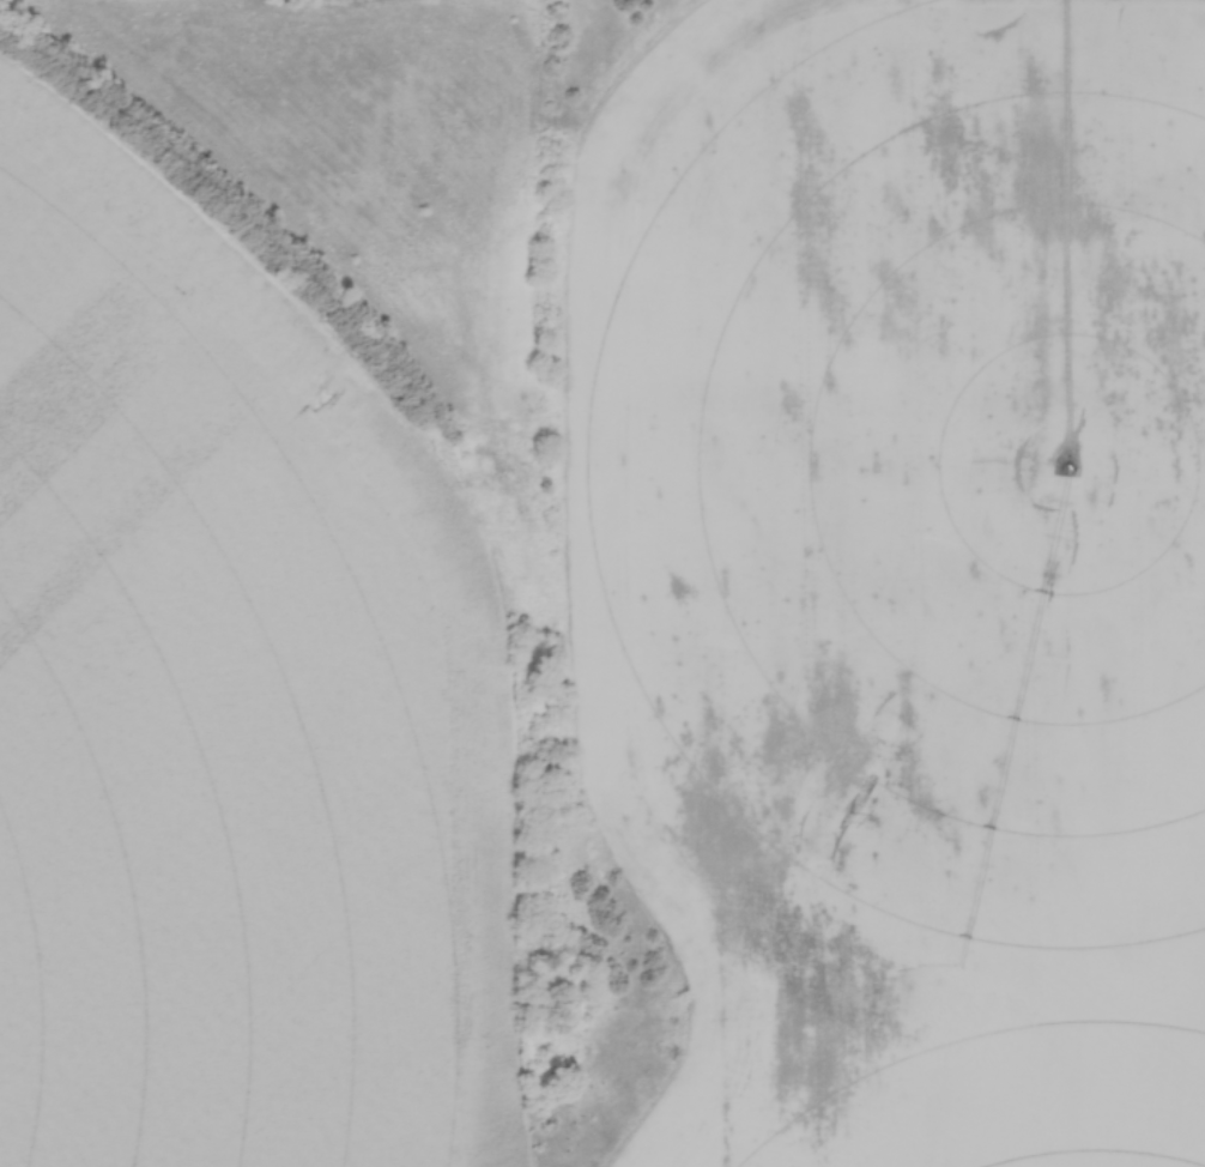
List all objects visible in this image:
power tower: (316, 400)
power tower: (847, 820)

